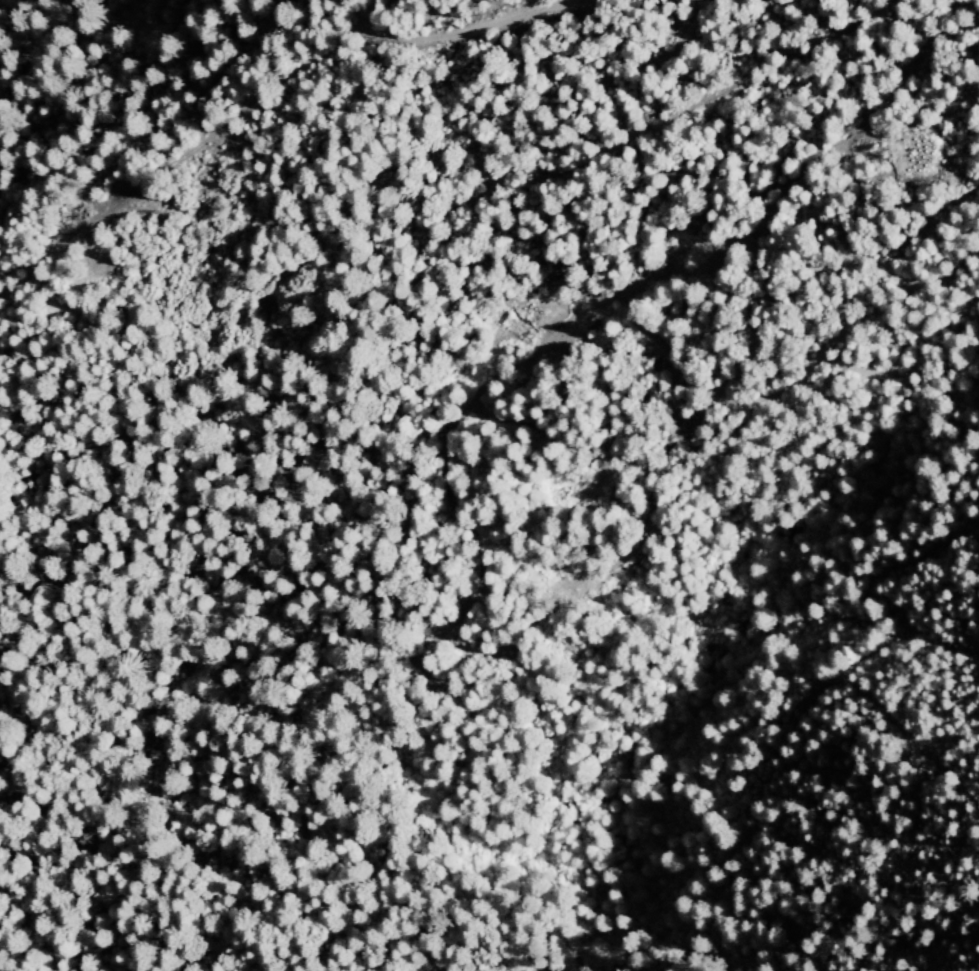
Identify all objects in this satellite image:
road: (147, 113)

